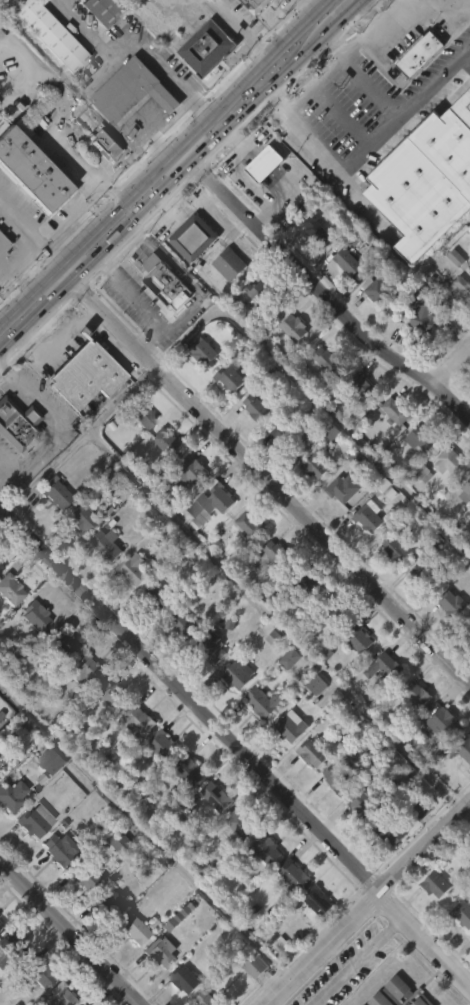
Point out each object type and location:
building: (257, 5)
road: (430, 6)
building: (102, 11)
road: (393, 13)
building: (248, 23)
road: (250, 25)
building: (425, 26)
road: (372, 33)
building: (53, 34)
building: (97, 44)
road: (135, 49)
building: (206, 49)
building: (423, 52)
building: (47, 71)
building: (203, 84)
building: (416, 90)
building: (131, 92)
road: (393, 115)
building: (106, 147)
road: (164, 159)
road: (331, 161)
building: (32, 170)
road: (181, 173)
building: (103, 181)
building: (426, 183)
building: (260, 200)
building: (29, 208)
building: (316, 228)
road: (26, 237)
building: (192, 237)
building: (2, 244)
building: (348, 260)
building: (229, 263)
building: (310, 263)
road: (5, 265)
building: (469, 265)
building: (469, 270)
road: (184, 273)
building: (189, 273)
building: (164, 280)
building: (2, 281)
building: (377, 289)
road: (317, 290)
building: (458, 292)
building: (261, 293)
building: (343, 297)
building: (225, 300)
road: (143, 304)
building: (468, 308)
road: (90, 315)
building: (161, 318)
building: (423, 318)
building: (373, 326)
building: (294, 327)
building: (450, 327)
building: (254, 328)
road: (63, 334)
road: (118, 343)
building: (205, 351)
building: (419, 354)
road: (118, 359)
building: (329, 359)
building: (289, 363)
road: (452, 365)
building: (84, 373)
building: (231, 379)
building: (198, 387)
building: (365, 388)
building: (322, 395)
building: (259, 408)
building: (398, 408)
building: (80, 410)
building: (469, 412)
building: (139, 415)
building: (227, 416)
road: (56, 419)
building: (360, 423)
building: (17, 424)
building: (283, 434)
road: (79, 436)
building: (422, 438)
building: (166, 439)
building: (252, 443)
building: (391, 447)
building: (139, 452)
building: (15, 460)
road: (4, 461)
building: (450, 462)
building: (315, 464)
building: (275, 468)
road: (4, 470)
building: (189, 470)
road: (264, 470)
building: (415, 475)
building: (162, 476)
building: (100, 483)
building: (344, 488)
building: (468, 488)
building: (55, 490)
building: (446, 497)
building: (312, 501)
building: (209, 503)
building: (185, 507)
road: (2, 513)
building: (81, 519)
building: (339, 524)
building: (249, 525)
building: (51, 528)
building: (463, 528)
building: (207, 540)
building: (107, 545)
building: (395, 548)
building: (365, 552)
building: (277, 553)
building: (77, 555)
building: (245, 561)
building: (0, 567)
building: (134, 569)
building: (424, 575)
building: (103, 580)
building: (302, 580)
building: (391, 583)
building: (271, 588)
building: (10, 589)
building: (159, 596)
building: (455, 604)
building: (129, 605)
building: (416, 607)
building: (334, 610)
building: (38, 613)
road: (271, 621)
building: (184, 624)
building: (8, 627)
building: (153, 631)
building: (468, 632)
building: (362, 638)
building: (447, 639)
building: (61, 643)
building: (210, 647)
building: (31, 651)
building: (178, 659)
building: (388, 666)
building: (468, 666)
building: (83, 668)
building: (238, 673)
building: (272, 675)
building: (355, 675)
building: (59, 677)
building: (206, 682)
building: (111, 693)
building: (286, 694)
building: (415, 694)
building: (263, 702)
building: (380, 702)
building: (79, 705)
building: (234, 708)
building: (136, 720)
building: (313, 720)
building: (442, 724)
building: (289, 726)
building: (107, 729)
building: (411, 729)
building: (259, 737)
building: (162, 745)
road: (235, 745)
building: (463, 747)
building: (313, 752)
building: (133, 757)
building: (439, 759)
building: (52, 761)
building: (285, 761)
building: (187, 772)
building: (343, 777)
building: (156, 783)
building: (462, 785)
building: (310, 788)
building: (12, 794)
building: (48, 796)
building: (215, 796)
building: (368, 802)
building: (186, 808)
building: (421, 808)
road: (466, 812)
building: (333, 815)
building: (35, 819)
building: (239, 824)
road: (146, 829)
building: (9, 830)
building: (390, 831)
building: (212, 832)
building: (360, 838)
building: (122, 844)
building: (417, 845)
building: (269, 848)
building: (55, 850)
building: (32, 855)
building: (234, 860)
building: (385, 866)
building: (84, 871)
building: (297, 875)
building: (116, 877)
building: (262, 884)
building: (436, 884)
building: (52, 885)
building: (109, 901)
building: (318, 901)
road: (368, 902)
building: (289, 909)
building: (463, 911)
building: (78, 912)
building: (432, 920)
building: (0, 924)
building: (133, 928)
road: (71, 932)
building: (313, 936)
building: (104, 937)
building: (11, 947)
building: (460, 950)
building: (158, 954)
road: (358, 959)
building: (128, 963)
building: (255, 966)
building: (469, 970)
building: (37, 971)
building: (184, 979)
building: (8, 980)
building: (158, 986)
building: (64, 996)
building: (211, 999)
building: (250, 999)
building: (418, 999)
building: (379, 1000)
building: (33, 1001)
building: (93, 1002)
building: (178, 1002)

